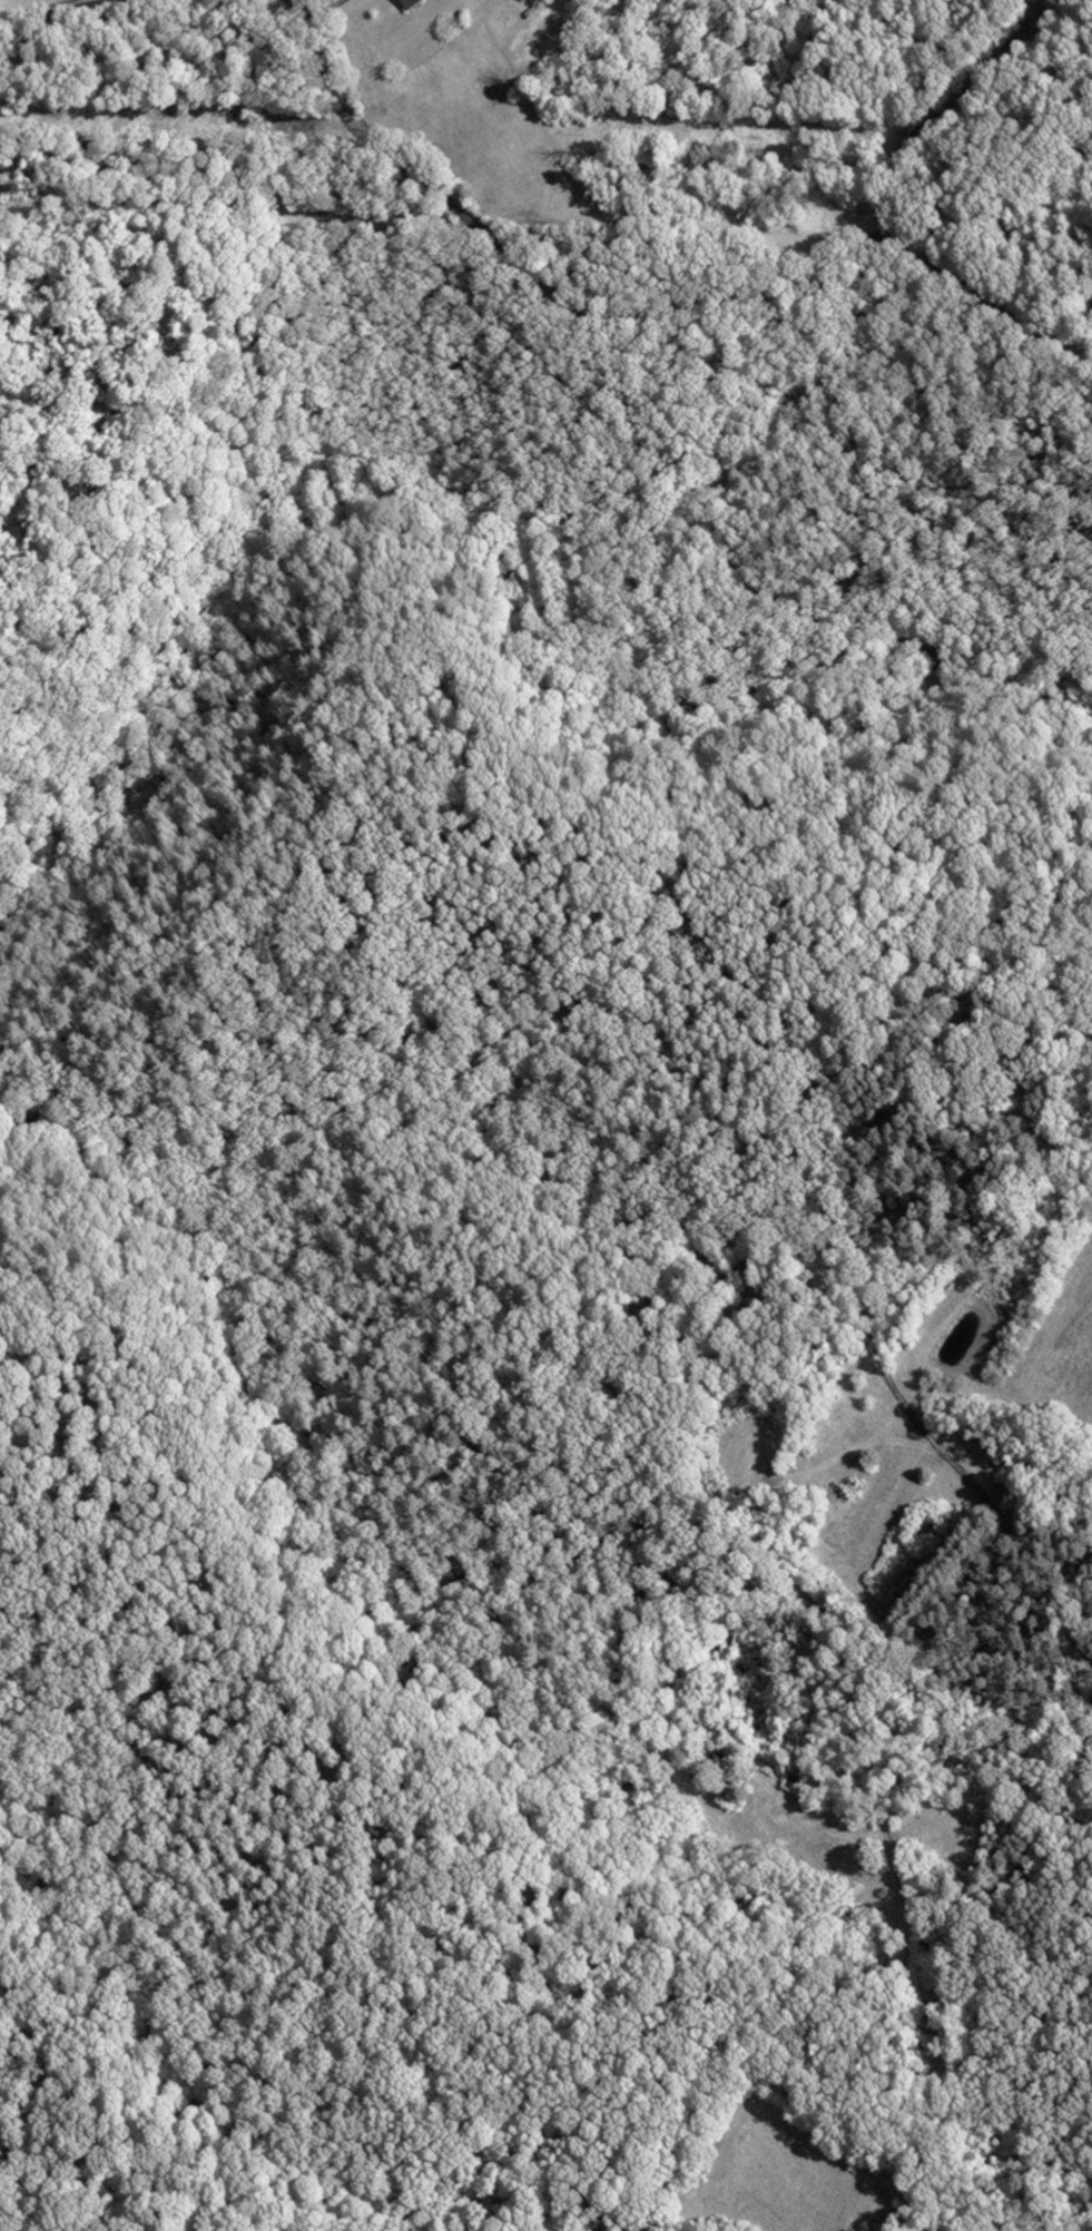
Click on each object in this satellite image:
building: (413, 2)
road: (446, 268)
road: (305, 365)
road: (746, 385)
road: (729, 1487)

